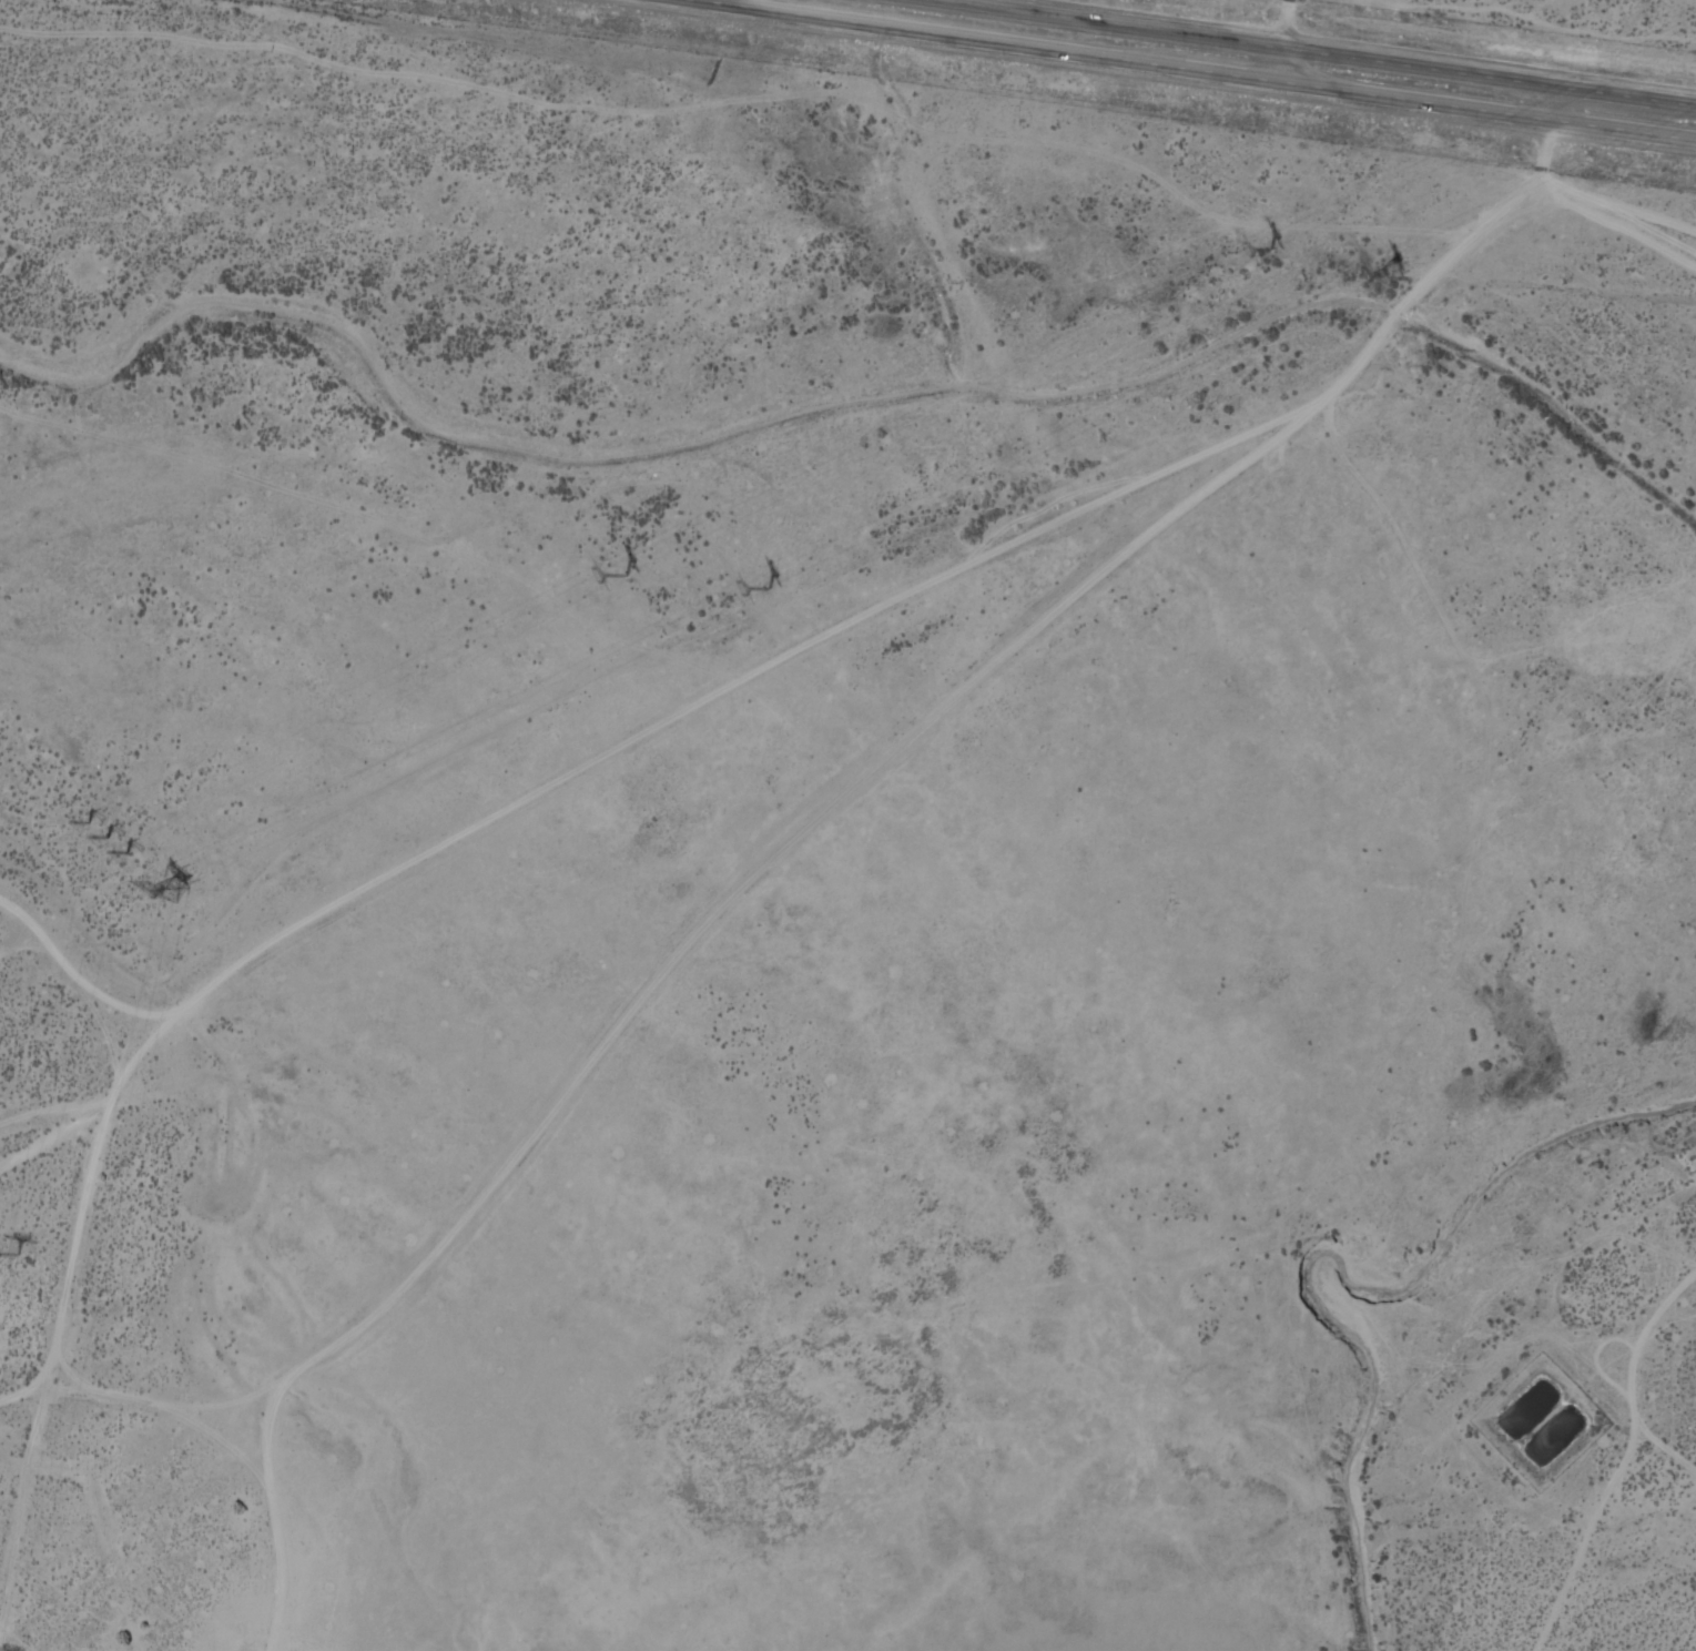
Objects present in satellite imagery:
road: (712, 0)
road: (1283, 39)
road: (1627, 45)
road: (1313, 52)
road: (1200, 69)
road: (1501, 221)
power tower: (1268, 251)
power tower: (1385, 275)
power tower: (621, 577)
power tower: (765, 590)
power tower: (104, 837)
power tower: (166, 891)
power tower: (11, 1256)
road: (1645, 1354)
road: (1045, 1500)

